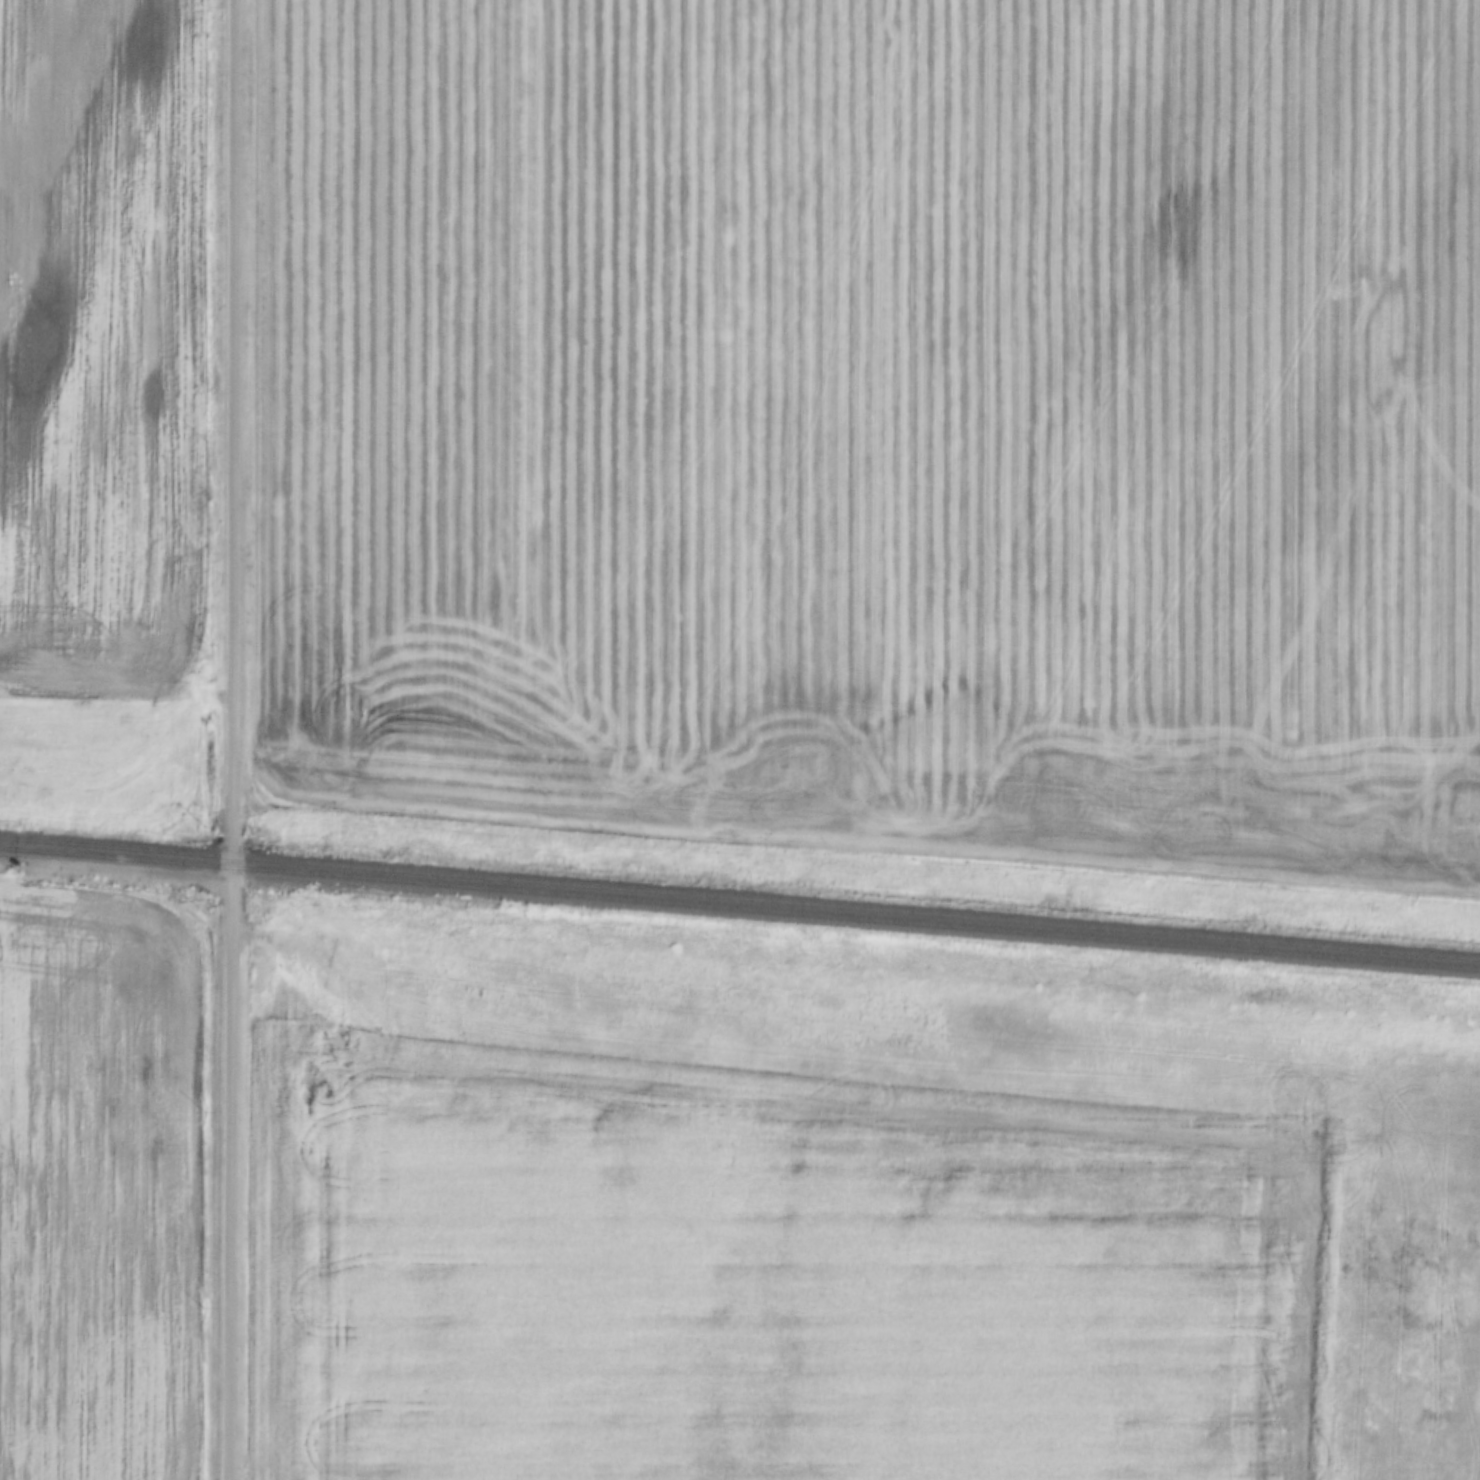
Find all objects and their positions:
road: (234, 739)
railway: (740, 896)
railway: (740, 907)

